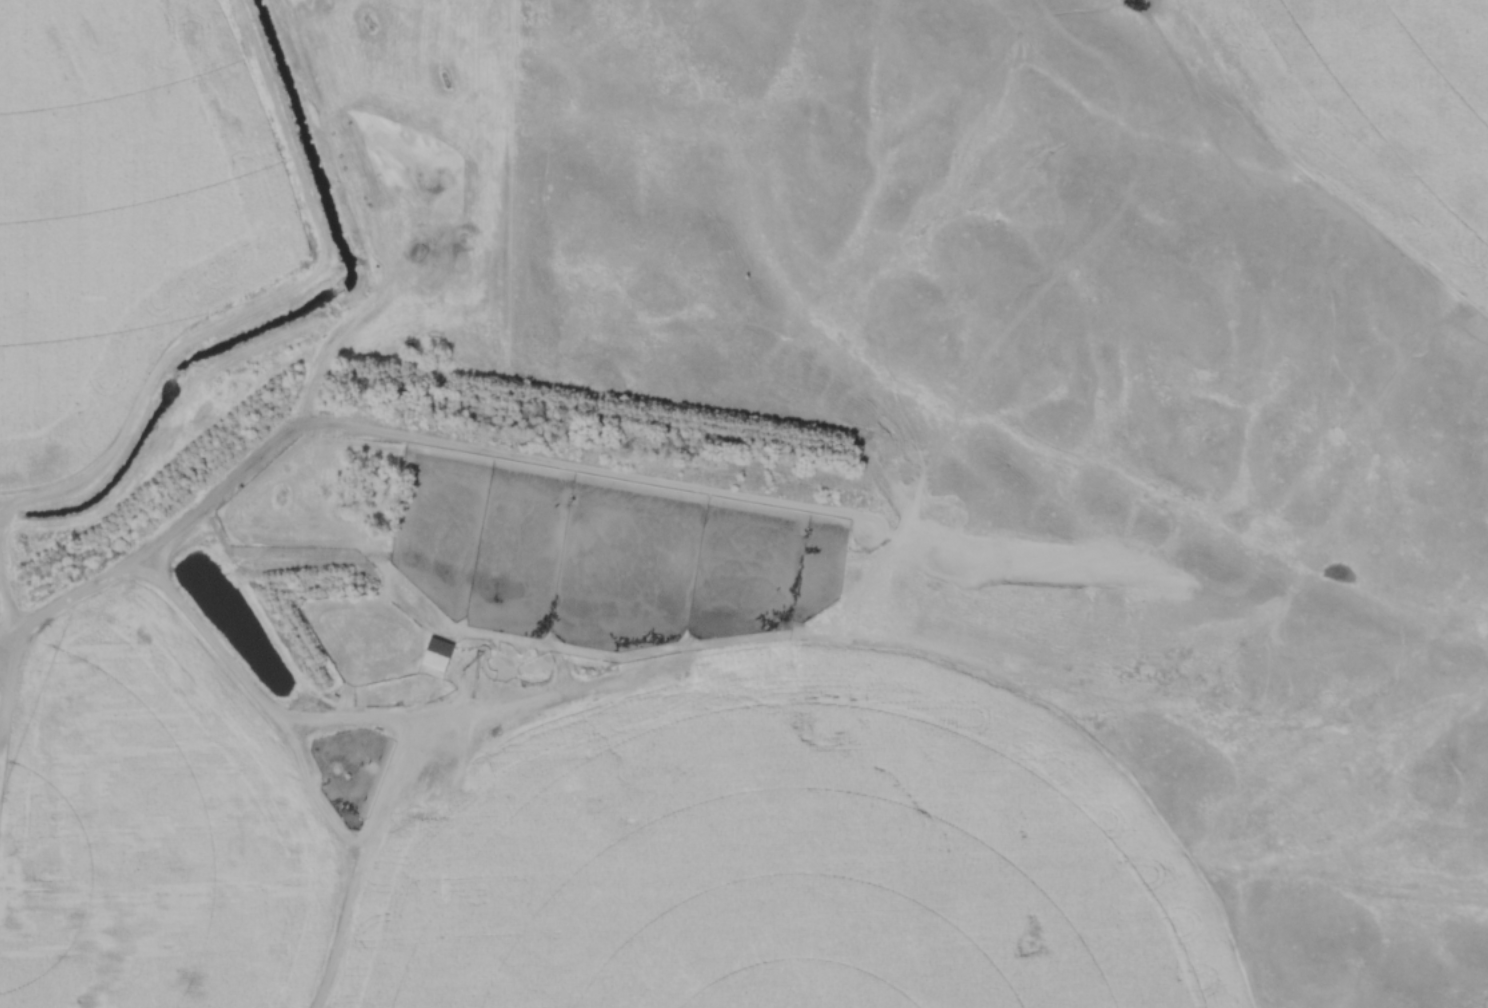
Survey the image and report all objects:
road: (369, 429)
road: (856, 515)
building: (434, 654)

